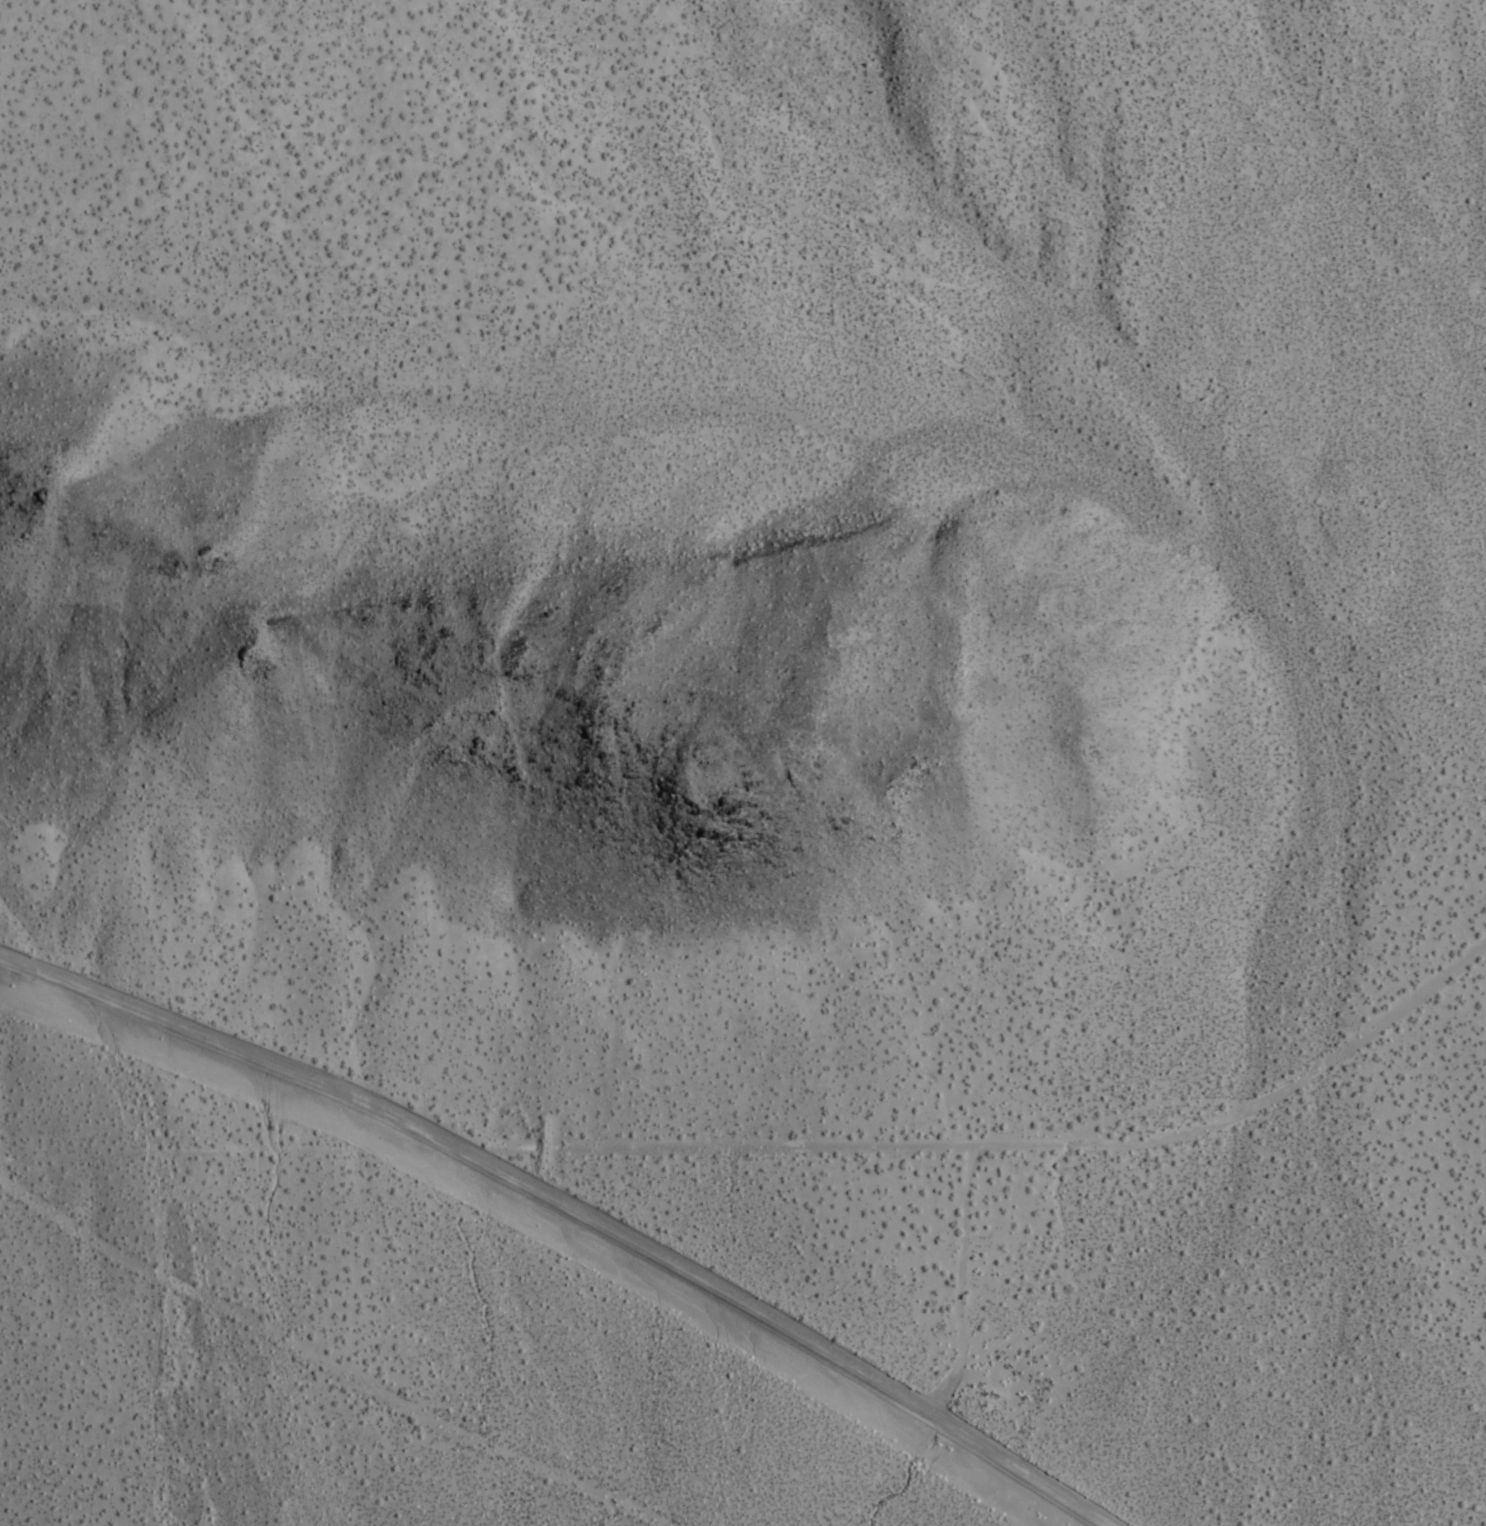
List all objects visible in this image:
road: (573, 1204)

